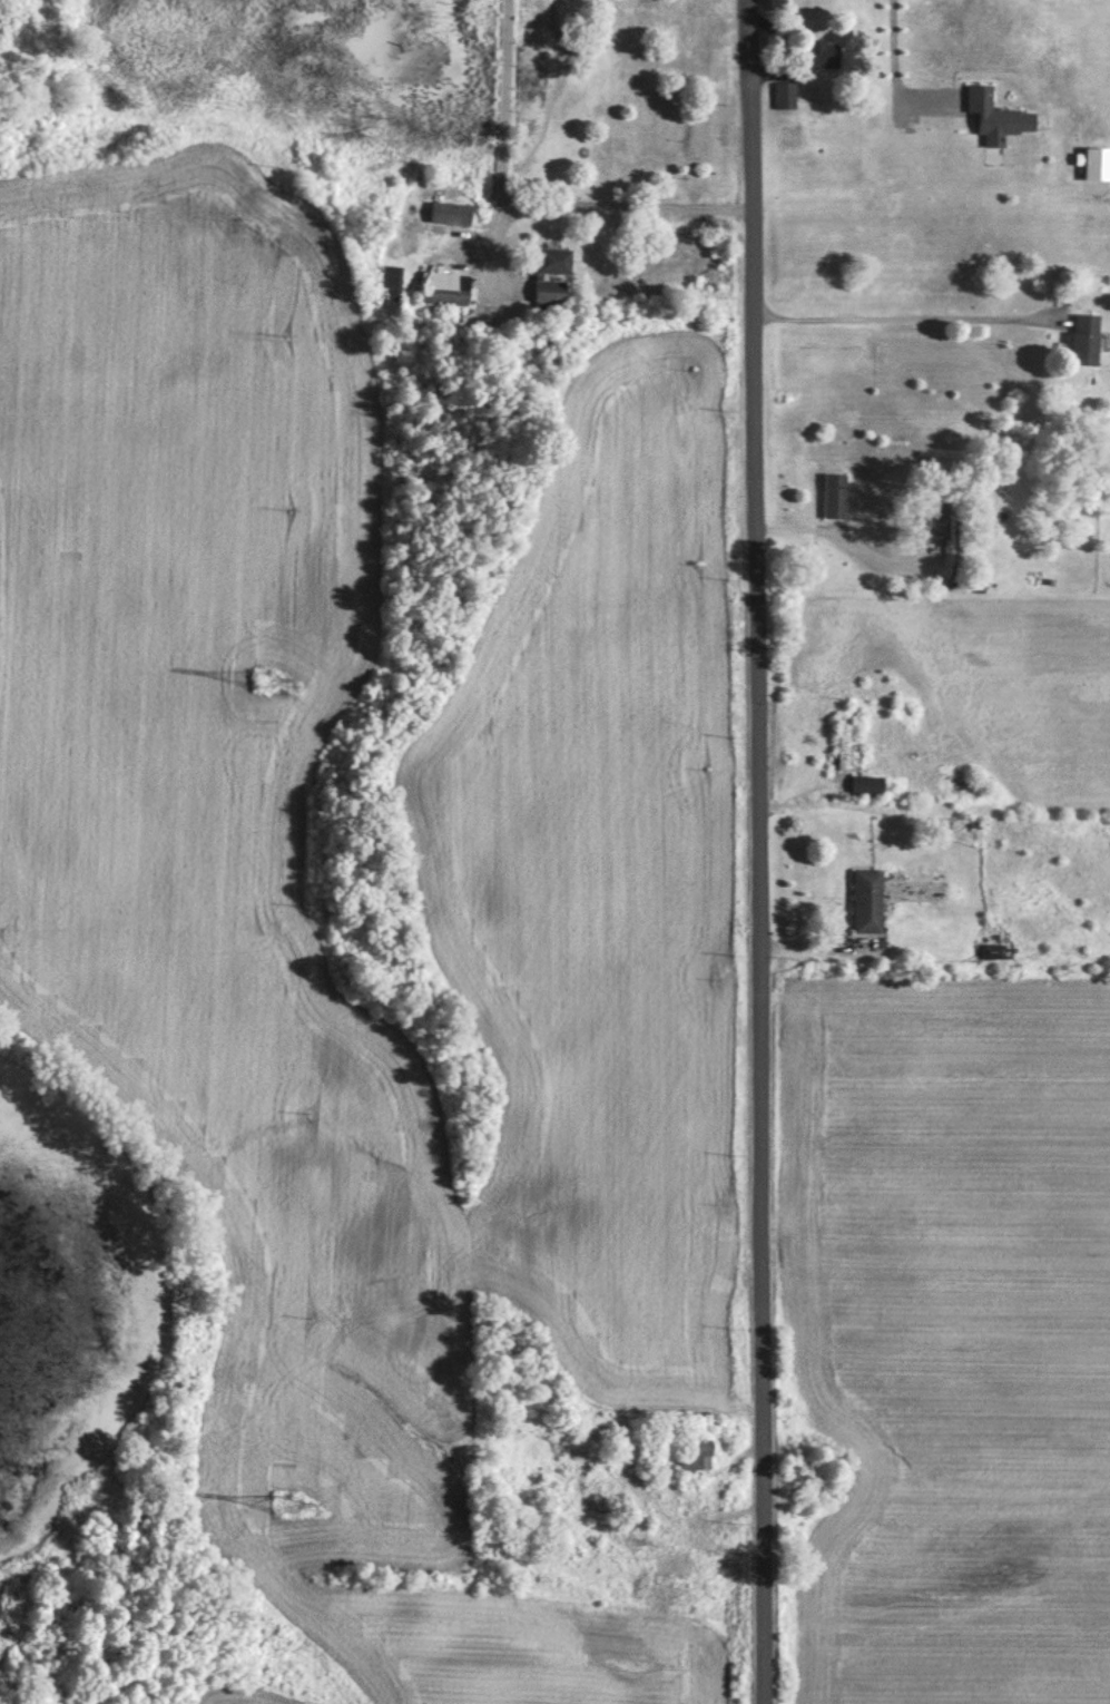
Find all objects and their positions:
building: (822, 52)
building: (784, 95)
road: (904, 111)
building: (996, 112)
road: (503, 121)
building: (1093, 161)
road: (857, 204)
road: (622, 206)
building: (451, 213)
building: (550, 261)
building: (445, 287)
building: (549, 291)
road: (887, 316)
building: (1084, 340)
building: (834, 494)
building: (935, 520)
road: (838, 533)
power tower: (264, 683)
building: (845, 741)
building: (865, 786)
road: (753, 852)
building: (865, 900)
building: (695, 1462)
power tower: (288, 1508)

